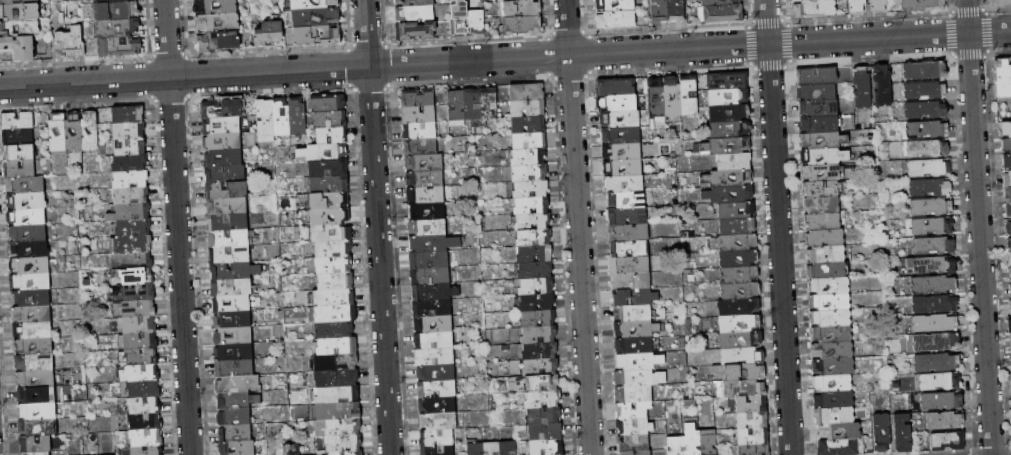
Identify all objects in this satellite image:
building: (513, 0)
building: (803, 0)
building: (111, 1)
building: (17, 2)
building: (415, 2)
building: (719, 2)
building: (315, 4)
building: (923, 5)
building: (215, 6)
building: (616, 6)
building: (879, 6)
building: (858, 7)
building: (815, 8)
building: (523, 9)
building: (118, 11)
building: (659, 11)
building: (676, 11)
building: (19, 12)
building: (415, 14)
building: (723, 14)
building: (316, 17)
building: (460, 18)
building: (616, 20)
building: (477, 22)
building: (218, 23)
building: (522, 25)
building: (20, 28)
building: (117, 28)
building: (418, 30)
building: (269, 33)
building: (317, 36)
building: (218, 41)
building: (70, 43)
building: (20, 47)
building: (121, 47)
road: (505, 58)
building: (925, 70)
building: (817, 76)
building: (1002, 77)
building: (728, 81)
building: (883, 86)
building: (616, 88)
building: (863, 89)
building: (925, 91)
building: (817, 92)
building: (527, 93)
building: (673, 96)
building: (689, 96)
building: (729, 97)
building: (656, 98)
building: (418, 99)
building: (328, 103)
building: (617, 103)
building: (488, 105)
building: (473, 107)
building: (457, 108)
building: (819, 108)
building: (223, 109)
building: (528, 109)
building: (926, 110)
building: (730, 113)
building: (128, 115)
building: (419, 115)
building: (297, 116)
building: (282, 117)
building: (620, 119)
building: (331, 120)
building: (16, 121)
building: (265, 121)
building: (820, 124)
building: (222, 126)
building: (529, 126)
building: (1005, 126)
building: (731, 129)
building: (927, 129)
building: (129, 130)
building: (90, 131)
building: (420, 131)
building: (74, 132)
building: (58, 133)
building: (622, 135)
building: (332, 136)
building: (18, 137)
building: (823, 140)
building: (530, 141)
building: (223, 142)
building: (1005, 142)
building: (130, 146)
building: (728, 146)
building: (420, 147)
building: (928, 149)
building: (18, 152)
building: (623, 152)
building: (324, 153)
building: (824, 156)
building: (223, 157)
building: (529, 157)
building: (1006, 159)
building: (734, 162)
building: (130, 163)
building: (424, 163)
building: (623, 167)
building: (328, 168)
building: (929, 168)
building: (20, 169)
building: (530, 173)
building: (822, 173)
building: (225, 174)
building: (1006, 175)
building: (425, 179)
building: (728, 179)
building: (131, 180)
building: (25, 184)
building: (329, 184)
building: (625, 184)
building: (930, 188)
building: (531, 189)
building: (821, 189)
building: (227, 190)
building: (1007, 191)
building: (132, 195)
building: (729, 195)
building: (426, 196)
building: (330, 200)
building: (626, 200)
building: (27, 201)
building: (822, 205)
building: (227, 206)
building: (532, 206)
building: (931, 207)
building: (1008, 208)
building: (736, 210)
building: (427, 211)
building: (130, 212)
building: (628, 216)
building: (27, 217)
building: (330, 217)
building: (228, 222)
building: (532, 222)
building: (823, 222)
building: (1008, 225)
building: (737, 226)
building: (933, 226)
road: (177, 227)
road: (377, 227)
road: (578, 227)
road: (778, 227)
road: (978, 227)
building: (133, 228)
building: (427, 228)
building: (330, 233)
building: (629, 233)
building: (27, 234)
building: (231, 238)
building: (534, 238)
building: (825, 238)
building: (1009, 240)
building: (433, 243)
building: (738, 243)
building: (131, 244)
building: (933, 246)
building: (28, 249)
building: (333, 249)
building: (629, 249)
building: (230, 254)
building: (535, 254)
building: (826, 254)
building: (1009, 256)
building: (739, 259)
building: (136, 260)
building: (429, 260)
building: (334, 265)
building: (630, 265)
building: (932, 265)
building: (30, 266)
building: (535, 270)
building: (827, 270)
building: (233, 271)
building: (1010, 271)
building: (739, 275)
building: (430, 276)
building: (132, 277)
building: (336, 282)
building: (632, 282)
building: (30, 283)
building: (1010, 284)
building: (933, 285)
building: (829, 286)
building: (232, 287)
building: (536, 287)
building: (741, 291)
building: (434, 292)
building: (137, 293)
building: (334, 297)
building: (30, 298)
building: (635, 298)
building: (830, 302)
building: (537, 303)
building: (232, 304)
building: (935, 305)
building: (739, 307)
building: (138, 309)
building: (432, 309)
building: (32, 314)
building: (335, 314)
building: (634, 314)
building: (538, 318)
building: (831, 319)
building: (233, 320)
building: (740, 323)
building: (934, 324)
building: (433, 325)
building: (139, 326)
building: (636, 329)
building: (335, 330)
building: (1008, 330)
building: (32, 331)
building: (538, 334)
building: (832, 334)
building: (233, 336)
building: (434, 340)
building: (739, 340)
building: (140, 342)
building: (936, 342)
building: (904, 343)
building: (34, 346)
building: (335, 346)
building: (635, 346)
building: (833, 350)
building: (537, 351)
building: (234, 352)
building: (742, 356)
building: (142, 357)
building: (435, 357)
building: (640, 362)
building: (35, 363)
building: (336, 363)
building: (936, 363)
building: (541, 367)
building: (834, 367)
building: (235, 369)
building: (1010, 371)
building: (745, 372)
building: (436, 373)
building: (142, 374)
building: (339, 378)
building: (639, 378)
building: (35, 379)
building: (940, 382)
building: (542, 383)
building: (833, 383)
building: (237, 385)
building: (437, 389)
building: (745, 389)
building: (143, 390)
building: (1010, 392)
building: (634, 394)
building: (37, 395)
building: (335, 395)
building: (543, 399)
building: (835, 400)
building: (237, 401)
building: (941, 401)
building: (752, 404)
building: (437, 405)
building: (144, 406)
building: (633, 410)
building: (37, 411)
building: (338, 411)
building: (835, 415)
building: (543, 416)
building: (234, 417)
building: (752, 420)
building: (945, 420)
building: (145, 422)
building: (438, 422)
building: (38, 427)
building: (338, 427)
building: (634, 427)
building: (545, 431)
building: (841, 431)
building: (882, 432)
building: (235, 433)
building: (903, 433)
building: (753, 437)
building: (146, 438)
building: (437, 439)
building: (692, 440)
building: (948, 441)
building: (709, 442)
building: (345, 443)
building: (35, 444)
building: (634, 444)
building: (676, 446)
building: (546, 447)
building: (839, 447)
building: (238, 448)
building: (508, 448)
building: (292, 449)
building: (475, 449)
building: (491, 449)
building: (147, 450)
building: (438, 450)
building: (755, 450)
building: (38, 453)
building: (347, 453)
building: (639, 453)

